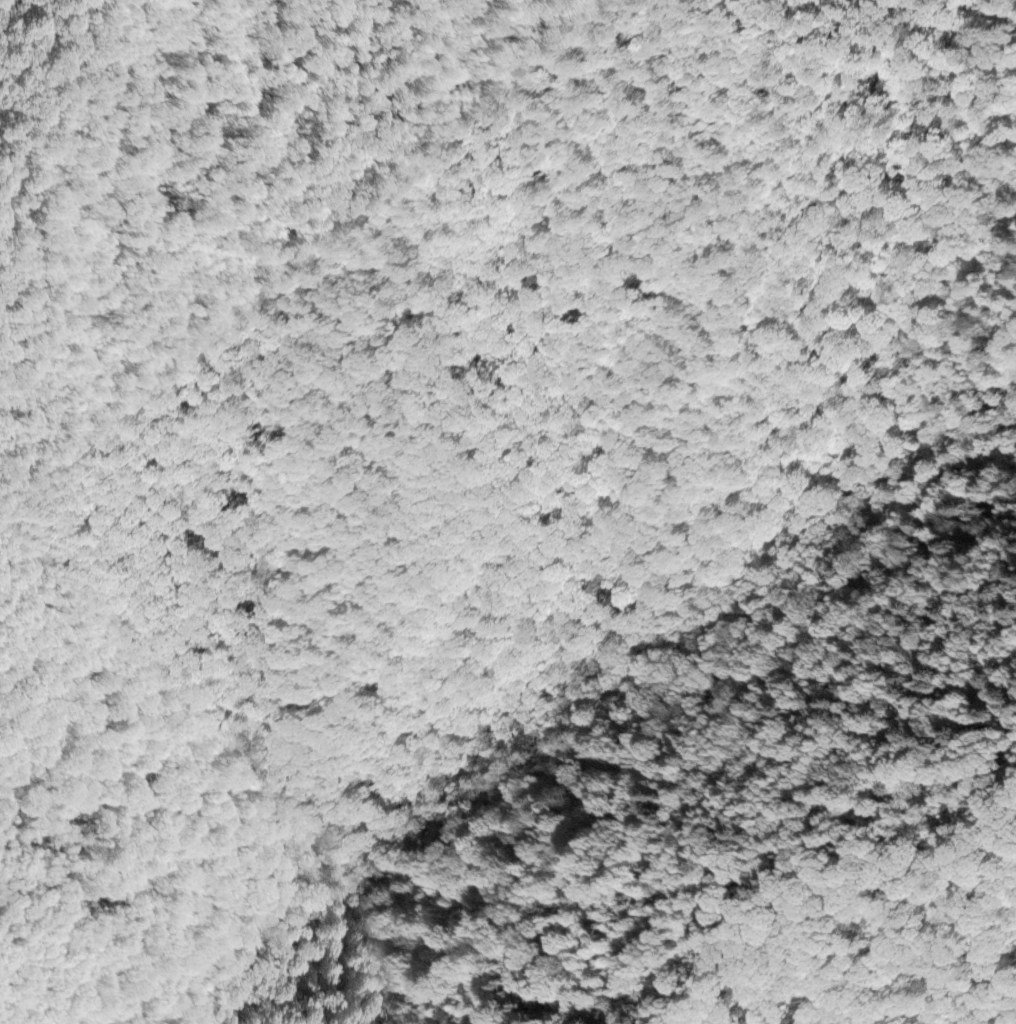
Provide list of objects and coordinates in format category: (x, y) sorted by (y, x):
road: (763, 426)

